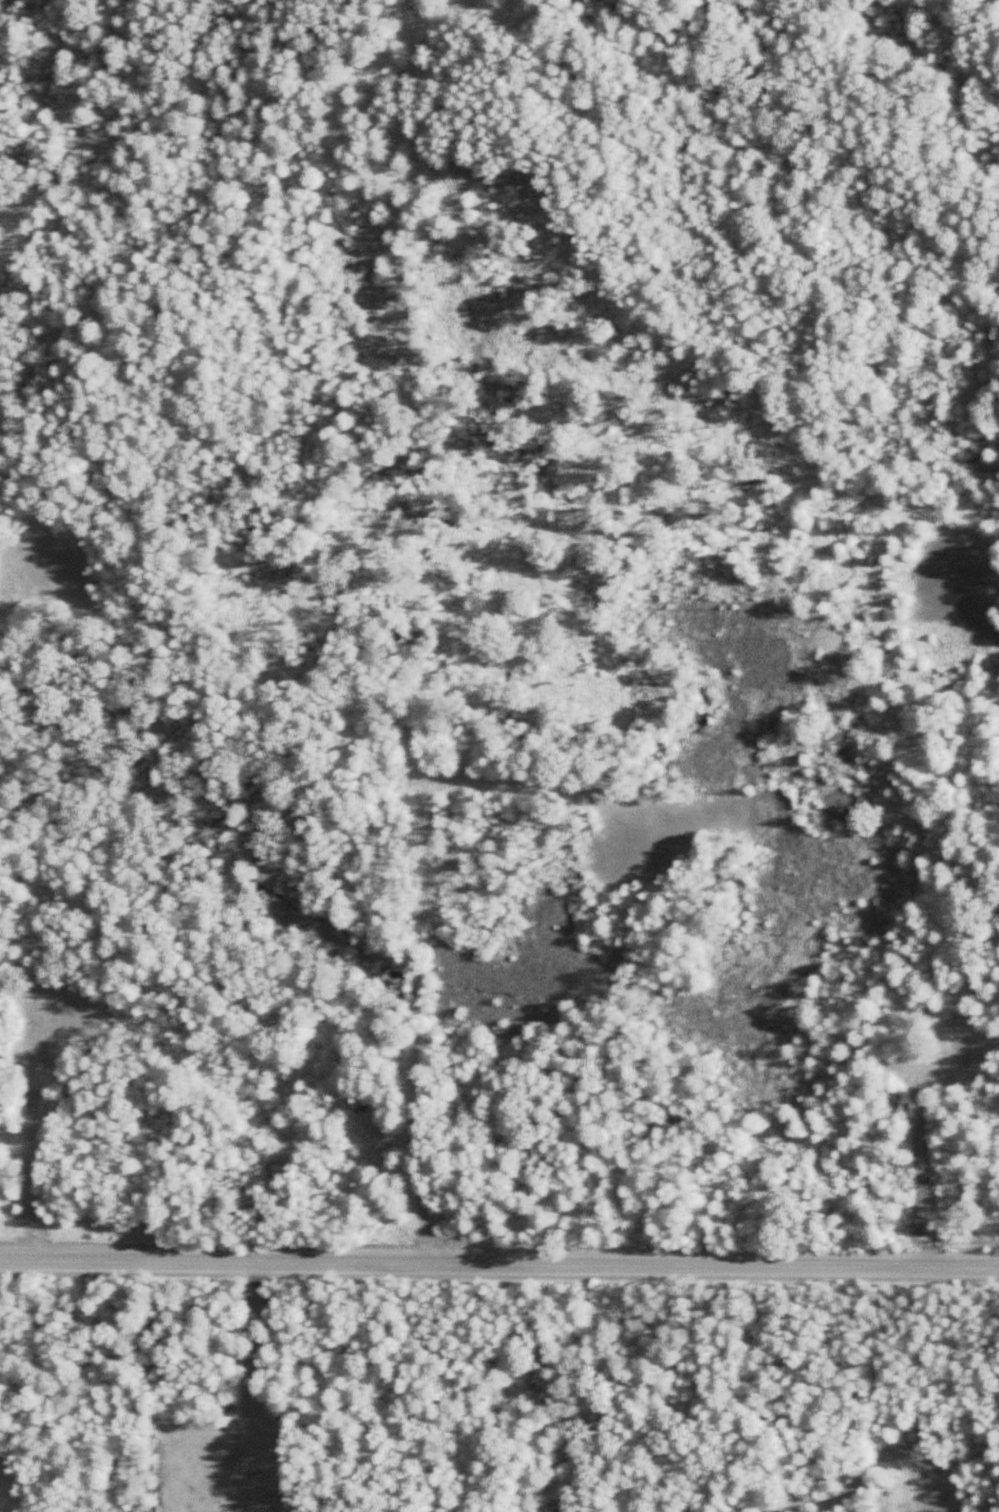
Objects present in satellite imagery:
road: (924, 1174)
road: (499, 1267)

